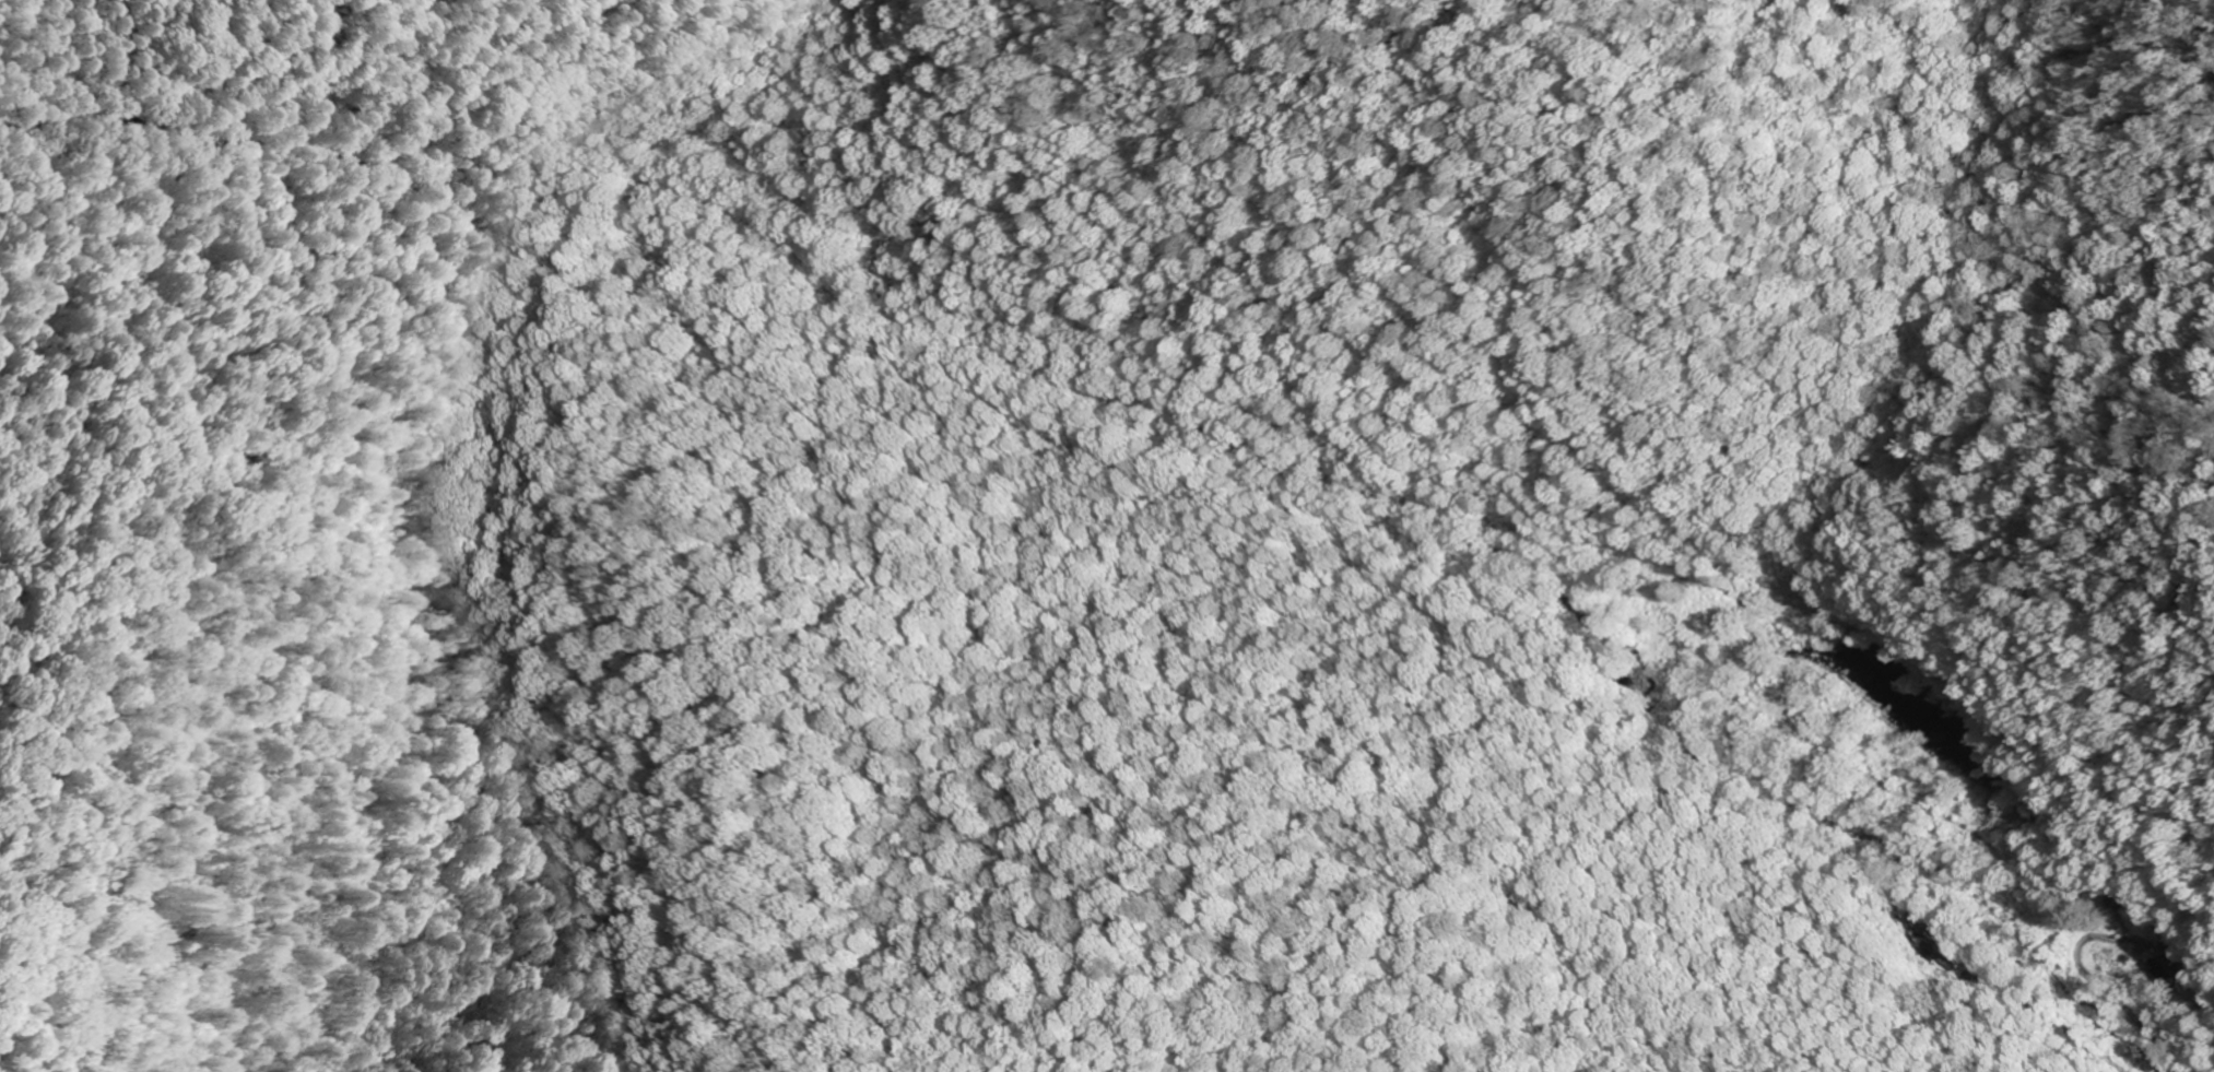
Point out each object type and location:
building: (1939, 962)
building: (2152, 969)
road: (2176, 1068)

